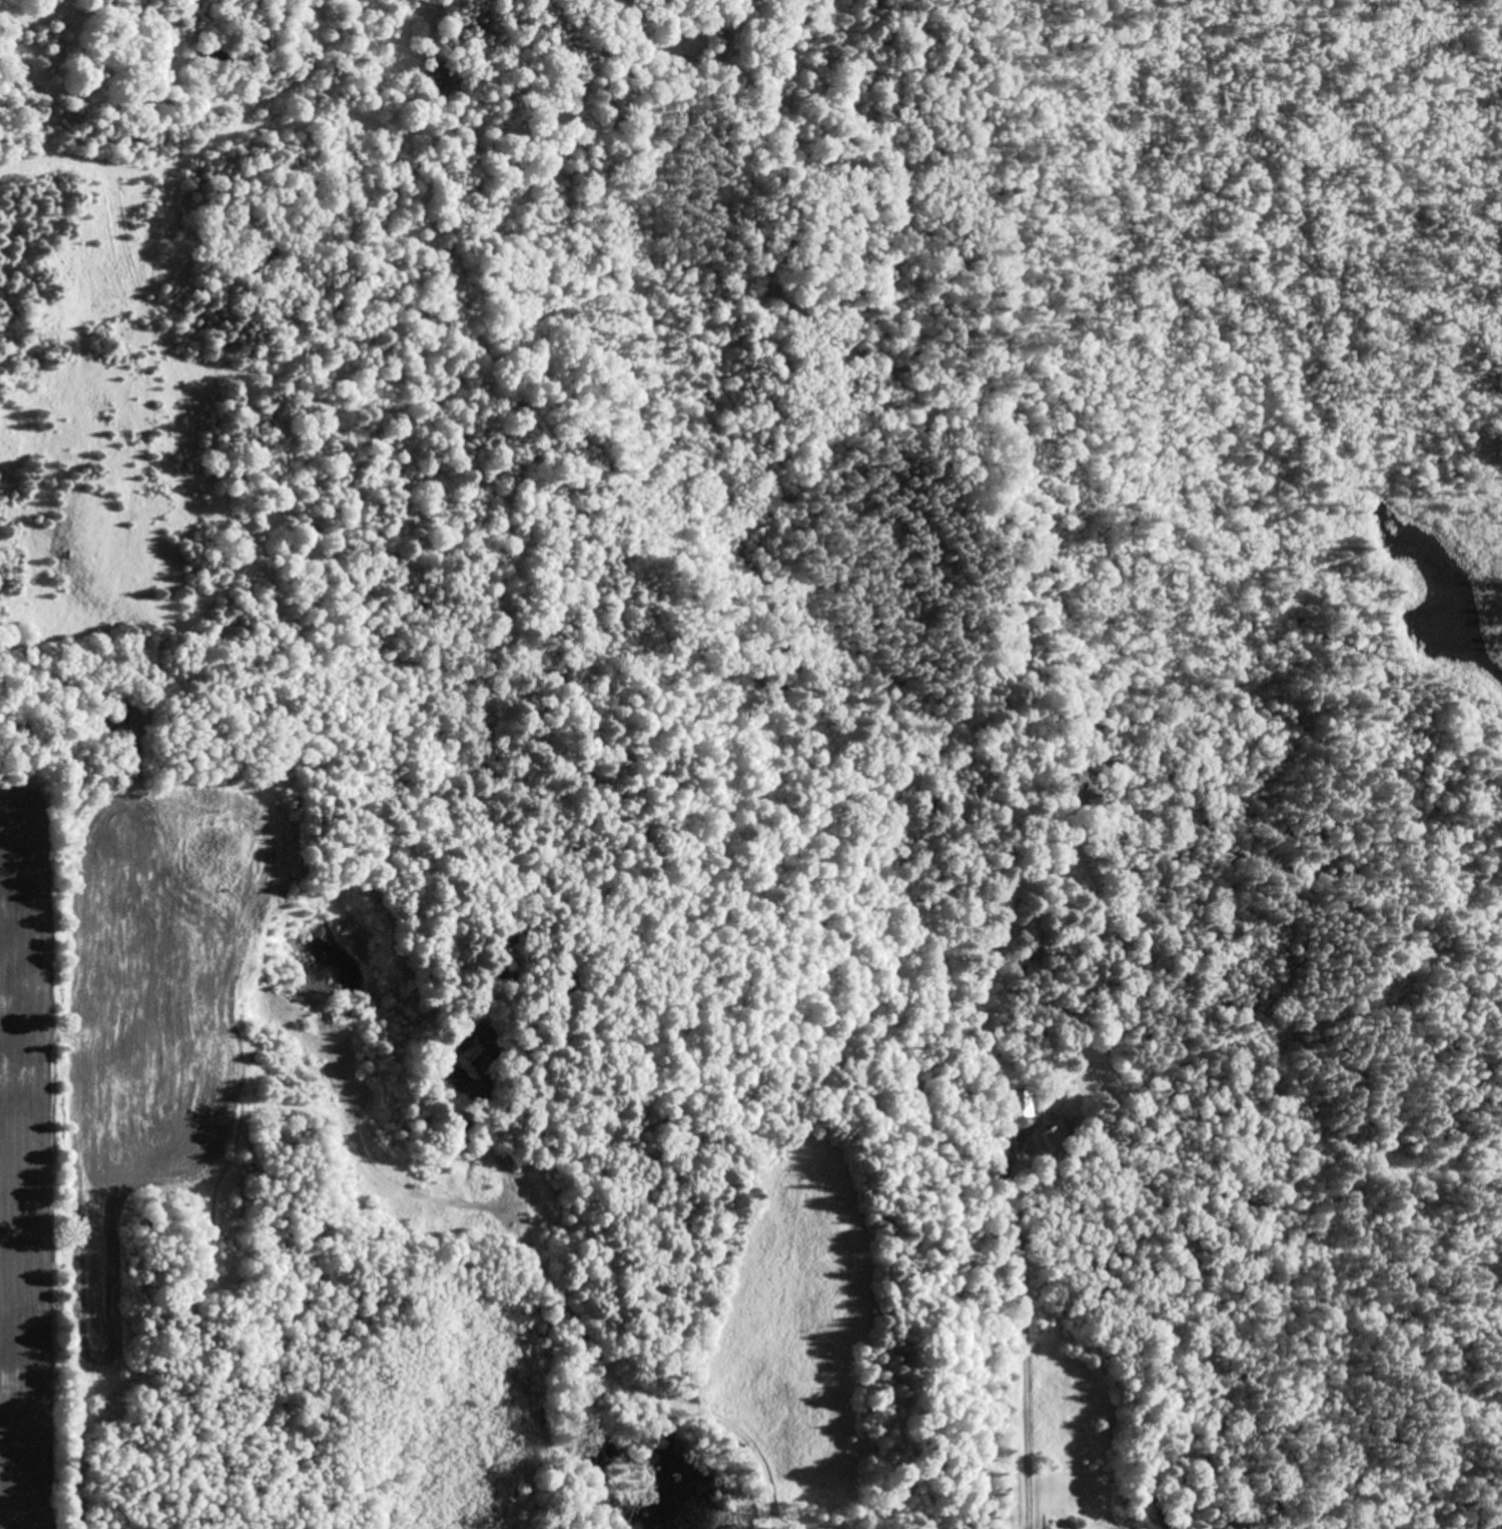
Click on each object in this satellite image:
building: (1023, 1081)
building: (1050, 1136)

